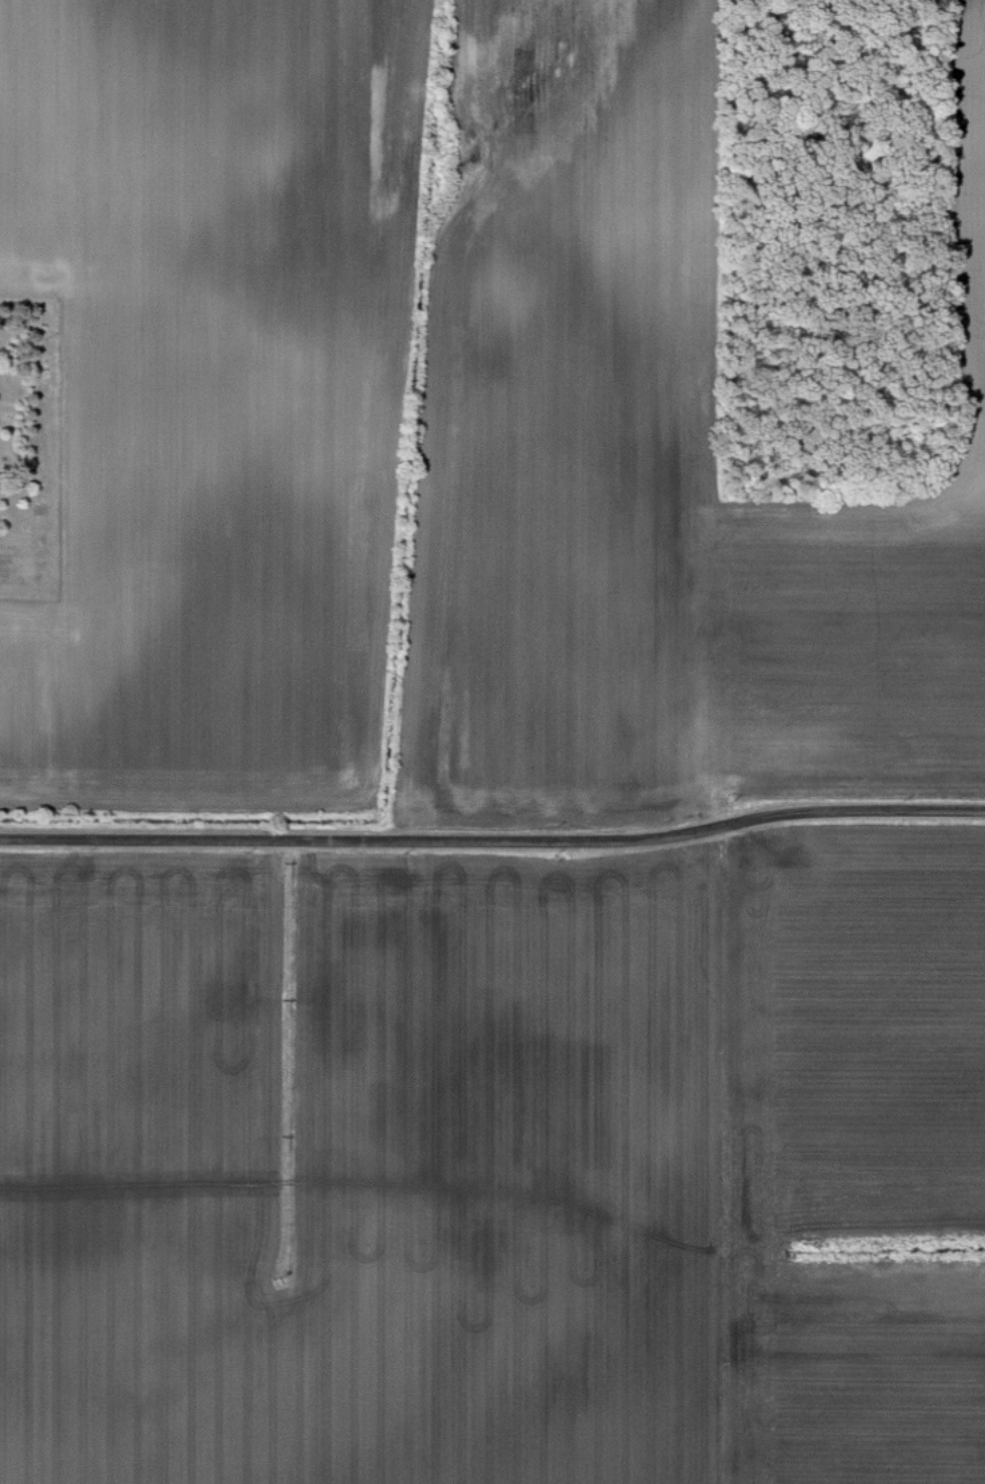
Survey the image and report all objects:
road: (494, 845)

